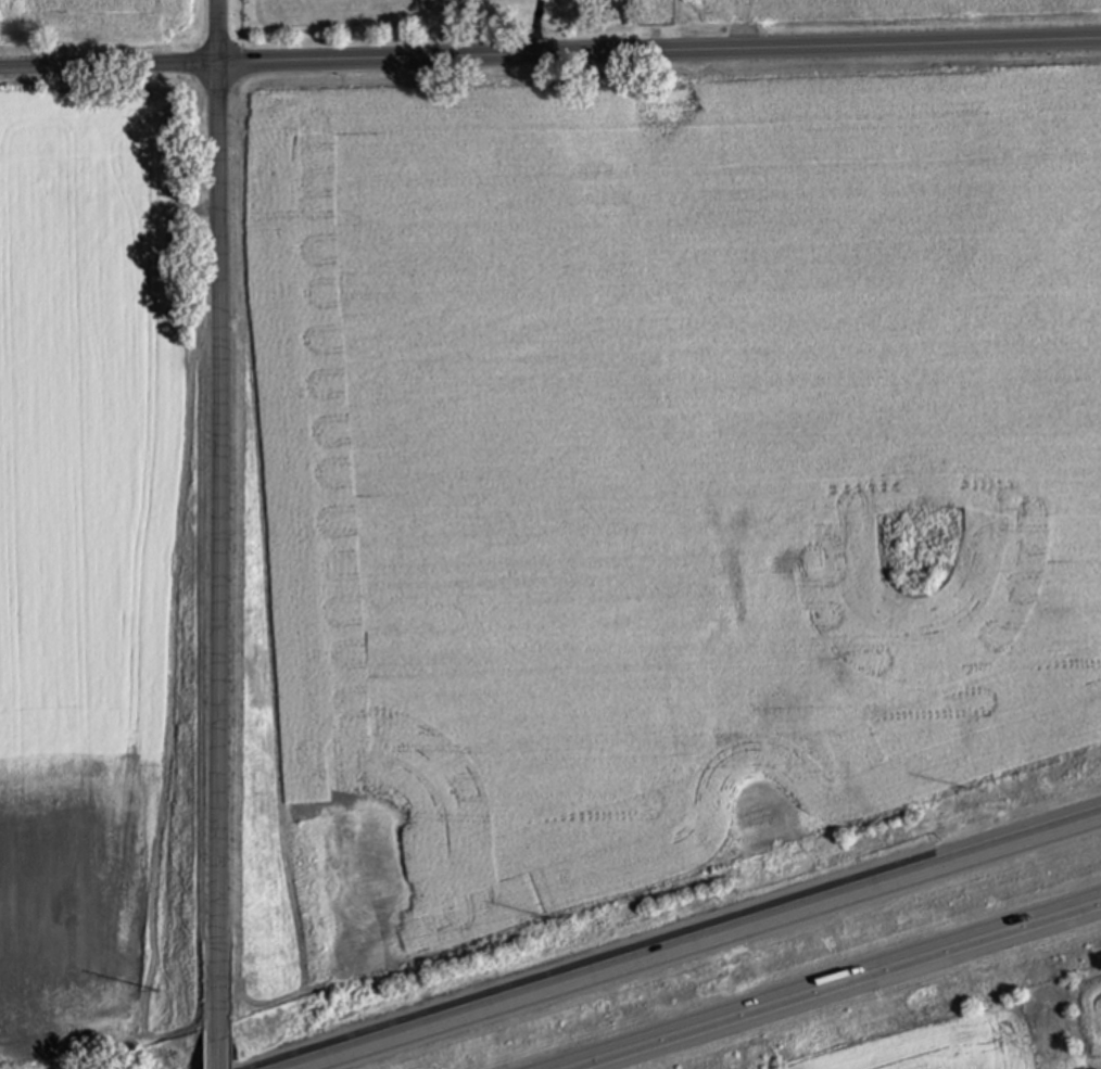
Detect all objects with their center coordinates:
road: (550, 53)
road: (220, 499)
road: (706, 945)
road: (848, 990)
road: (224, 1034)

